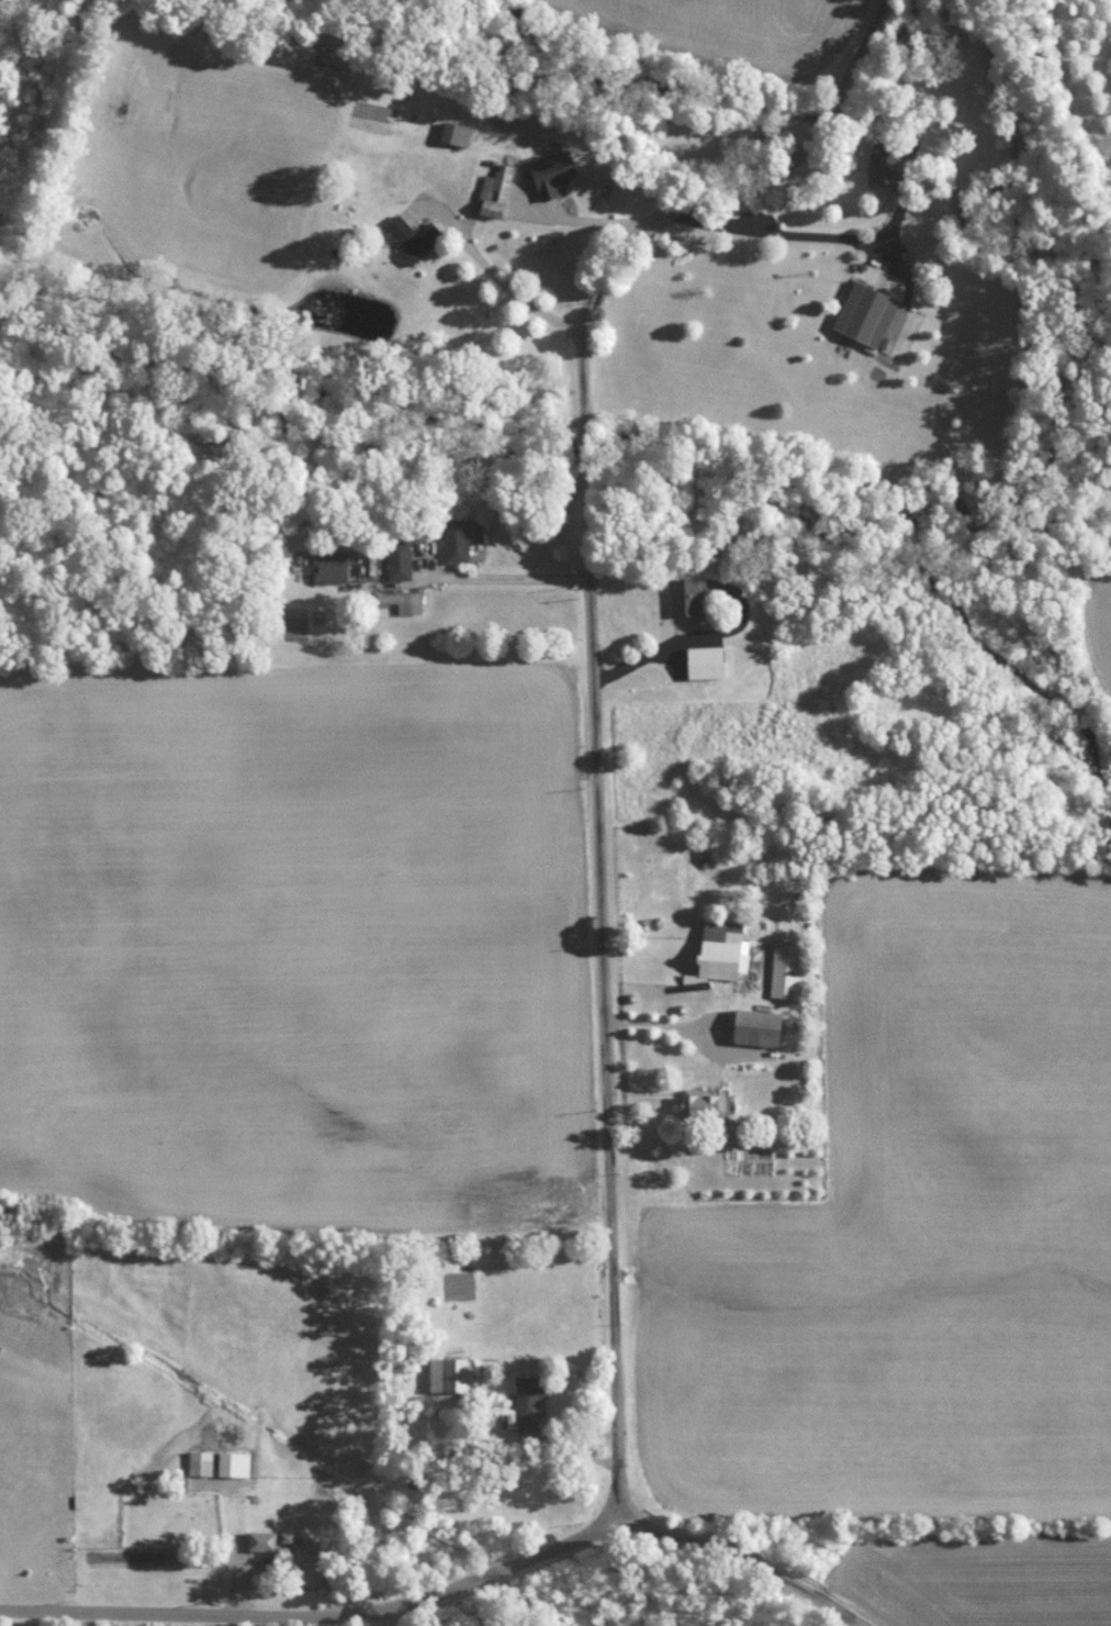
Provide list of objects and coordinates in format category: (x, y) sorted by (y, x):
building: (457, 133)
building: (886, 164)
building: (554, 172)
building: (497, 191)
road: (773, 231)
building: (415, 237)
road: (497, 277)
building: (867, 313)
building: (462, 537)
building: (401, 559)
building: (332, 566)
road: (506, 579)
building: (687, 595)
building: (405, 601)
building: (707, 661)
road: (593, 693)
building: (723, 949)
building: (787, 970)
road: (682, 1027)
building: (760, 1027)
building: (706, 1101)
building: (450, 1373)
building: (531, 1400)
building: (202, 1461)
building: (236, 1463)
building: (288, 1535)
building: (263, 1539)
road: (747, 1557)
building: (313, 1562)
road: (316, 1615)
road: (394, 1617)

